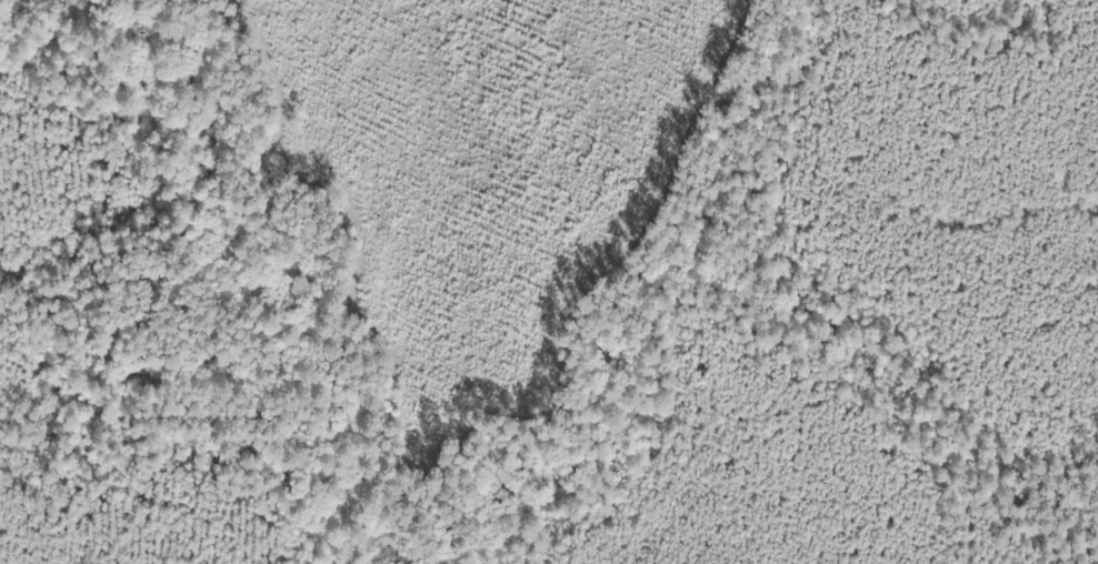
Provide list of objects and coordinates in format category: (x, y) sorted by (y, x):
road: (789, 444)

